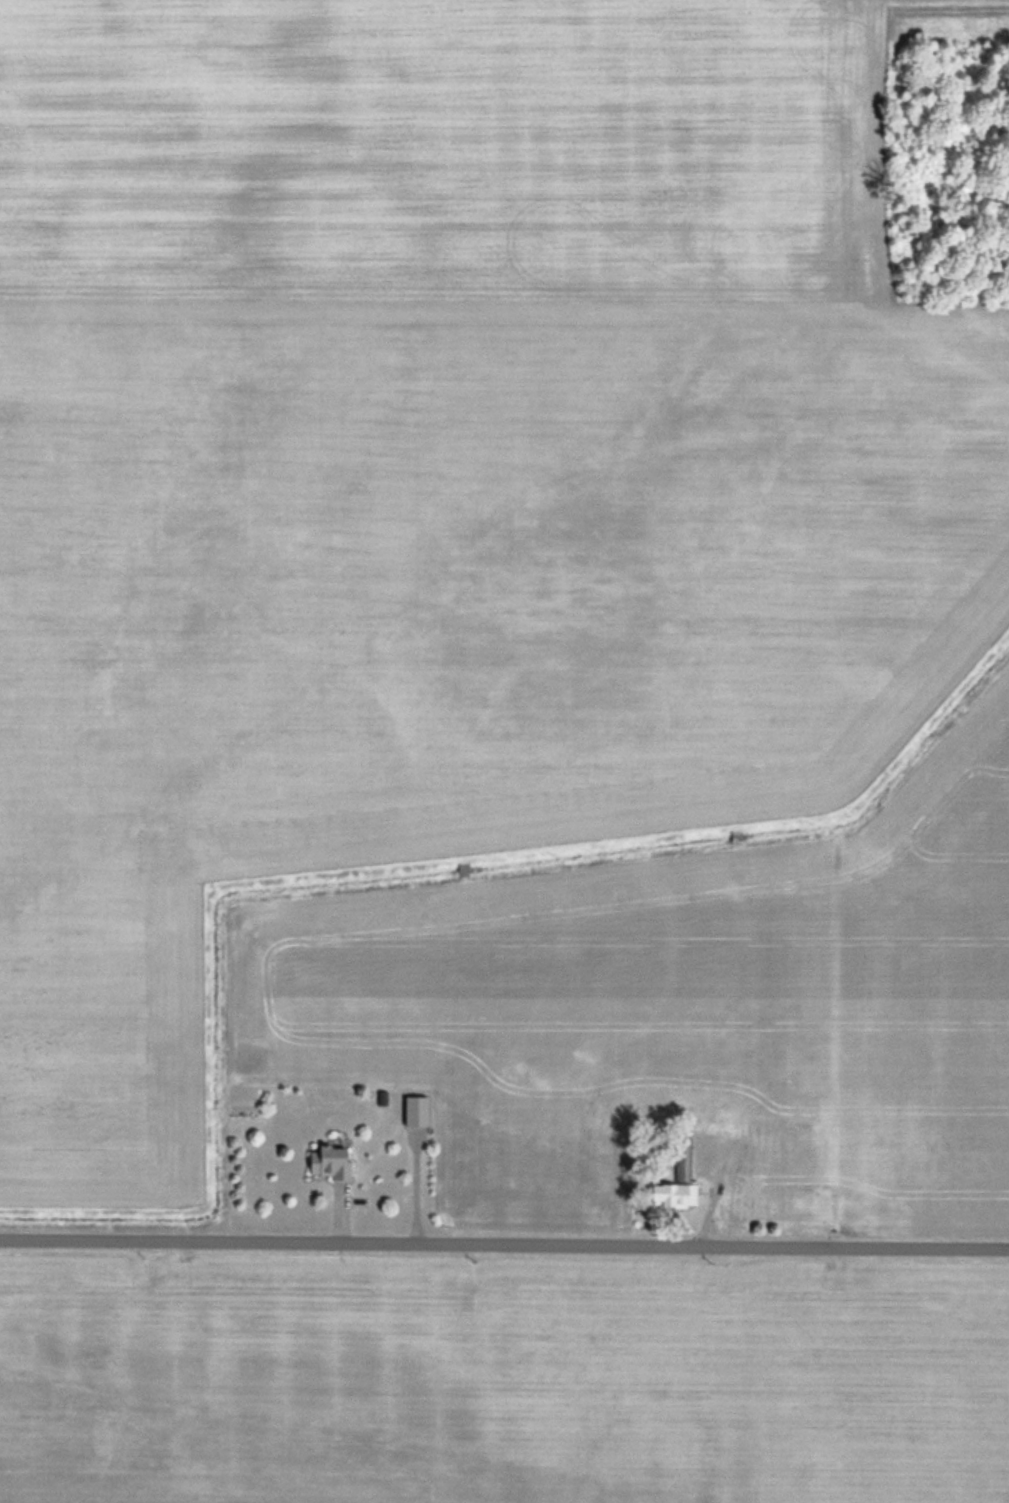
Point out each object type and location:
building: (415, 1111)
building: (683, 1158)
building: (329, 1161)
road: (504, 1249)

